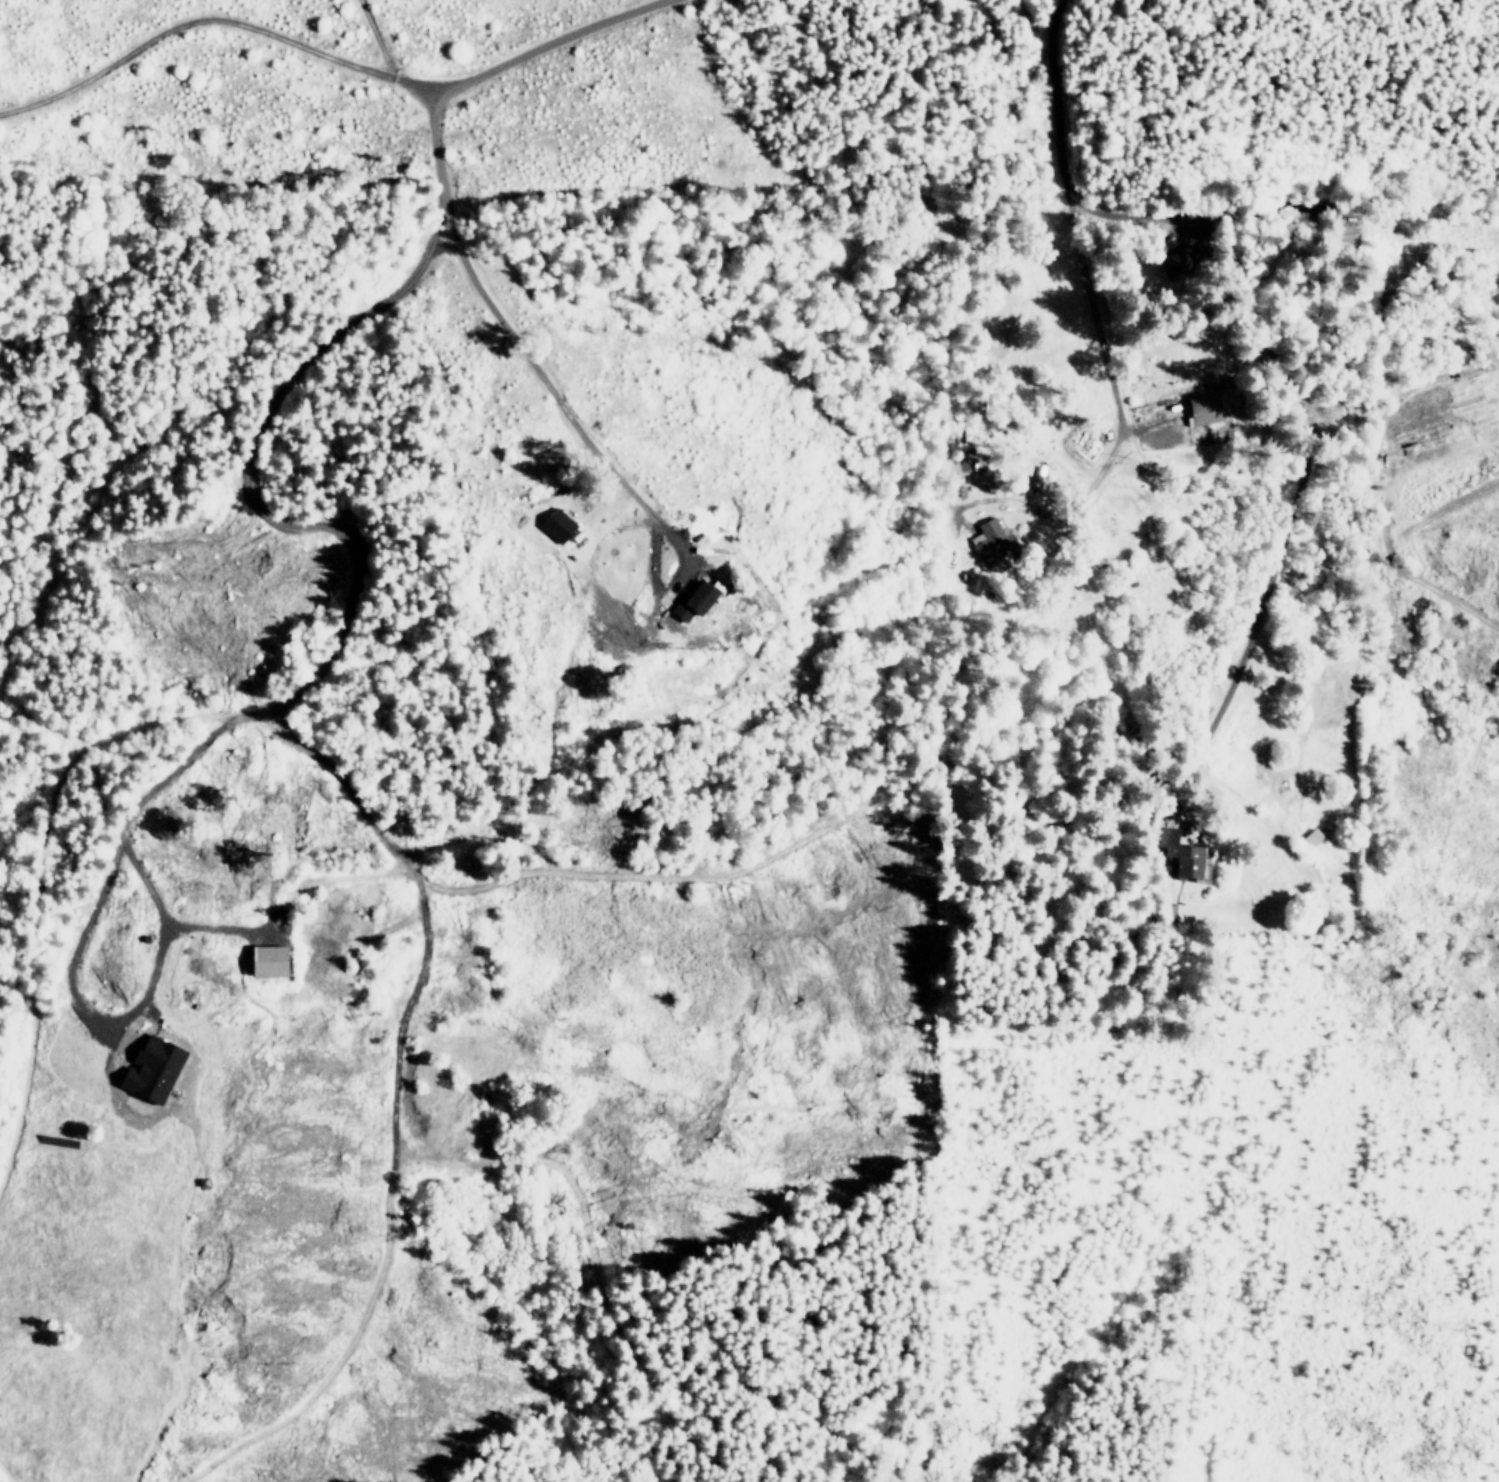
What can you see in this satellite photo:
road: (377, 40)
road: (317, 57)
road: (1141, 214)
building: (1174, 262)
road: (1081, 271)
road: (514, 356)
building: (1209, 406)
building: (558, 524)
building: (991, 545)
building: (694, 599)
road: (301, 688)
building: (1183, 856)
building: (268, 960)
building: (153, 1068)

